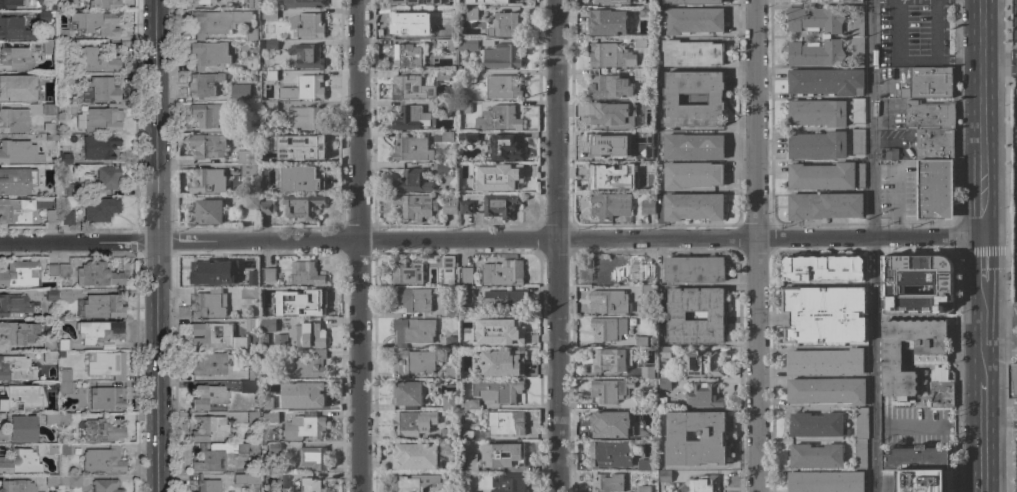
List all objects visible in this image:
building: (198, 1)
building: (612, 1)
building: (694, 1)
building: (824, 1)
building: (416, 2)
building: (104, 3)
building: (302, 3)
building: (501, 3)
building: (17, 4)
building: (53, 4)
building: (249, 4)
building: (446, 13)
building: (470, 13)
building: (645, 13)
building: (269, 14)
building: (44, 15)
building: (694, 21)
building: (607, 22)
building: (96, 23)
building: (222, 23)
building: (306, 25)
building: (409, 25)
building: (504, 26)
building: (14, 29)
road: (934, 30)
building: (826, 36)
building: (857, 36)
building: (61, 42)
building: (487, 42)
building: (639, 42)
building: (445, 44)
building: (468, 44)
building: (271, 45)
building: (245, 47)
road: (895, 47)
building: (209, 53)
building: (692, 53)
building: (306, 55)
building: (406, 56)
building: (611, 56)
building: (501, 57)
building: (15, 58)
building: (94, 59)
road: (998, 59)
road: (956, 60)
building: (251, 64)
building: (644, 74)
road: (998, 74)
building: (441, 75)
building: (468, 75)
building: (271, 76)
building: (67, 77)
building: (826, 82)
building: (203, 83)
building: (928, 83)
building: (609, 86)
building: (17, 87)
building: (310, 87)
building: (503, 87)
building: (410, 88)
building: (103, 89)
building: (238, 96)
building: (672, 100)
building: (640, 104)
building: (442, 105)
building: (271, 106)
building: (49, 108)
building: (64, 108)
building: (464, 108)
building: (858, 111)
building: (817, 113)
building: (210, 114)
building: (928, 115)
building: (411, 117)
building: (305, 118)
building: (499, 118)
building: (610, 118)
road: (980, 118)
building: (100, 119)
road: (757, 119)
building: (13, 120)
road: (360, 120)
road: (557, 120)
road: (158, 121)
building: (249, 126)
building: (49, 127)
building: (640, 135)
building: (443, 136)
building: (51, 137)
building: (468, 137)
building: (858, 142)
building: (934, 144)
building: (818, 145)
building: (207, 146)
building: (693, 146)
building: (101, 147)
building: (298, 147)
building: (504, 147)
building: (603, 148)
building: (412, 149)
building: (21, 152)
building: (890, 153)
building: (246, 156)
building: (64, 157)
building: (470, 167)
building: (271, 168)
building: (440, 168)
building: (246, 170)
building: (692, 175)
building: (612, 176)
building: (826, 176)
building: (108, 178)
building: (16, 180)
building: (300, 180)
building: (506, 180)
building: (208, 181)
building: (412, 181)
building: (73, 189)
building: (935, 189)
building: (61, 191)
building: (252, 201)
building: (449, 204)
building: (612, 204)
building: (500, 205)
building: (825, 205)
building: (302, 206)
building: (415, 207)
building: (465, 207)
building: (648, 207)
building: (693, 207)
building: (99, 208)
building: (266, 208)
building: (14, 210)
building: (206, 212)
building: (51, 216)
building: (68, 217)
road: (570, 239)
road: (79, 243)
road: (875, 245)
building: (823, 268)
building: (52, 269)
building: (63, 269)
building: (694, 269)
building: (211, 271)
building: (446, 271)
building: (251, 272)
building: (503, 272)
building: (603, 272)
building: (19, 273)
building: (304, 273)
building: (407, 273)
building: (97, 274)
building: (269, 274)
building: (647, 274)
building: (466, 275)
building: (907, 286)
building: (647, 290)
building: (249, 293)
building: (268, 293)
building: (465, 293)
building: (51, 294)
building: (65, 294)
building: (413, 299)
building: (501, 301)
building: (608, 302)
building: (208, 303)
building: (14, 305)
building: (102, 305)
building: (310, 305)
road: (982, 308)
building: (451, 311)
road: (999, 311)
building: (824, 314)
building: (717, 316)
building: (269, 324)
building: (251, 326)
building: (505, 328)
building: (608, 328)
building: (99, 331)
building: (413, 331)
building: (18, 333)
building: (307, 335)
building: (215, 336)
building: (451, 342)
building: (640, 342)
building: (652, 342)
building: (473, 343)
road: (999, 343)
building: (49, 344)
building: (64, 344)
building: (665, 352)
building: (268, 354)
building: (50, 355)
building: (610, 360)
building: (930, 360)
building: (415, 362)
building: (825, 362)
building: (209, 363)
building: (502, 363)
building: (107, 364)
building: (701, 364)
road: (558, 365)
road: (759, 365)
road: (361, 366)
road: (159, 367)
building: (304, 367)
building: (15, 368)
building: (68, 371)
building: (647, 372)
building: (451, 373)
road: (958, 373)
building: (253, 374)
building: (1014, 382)
building: (664, 383)
building: (248, 385)
building: (50, 387)
building: (67, 387)
building: (272, 387)
building: (496, 390)
building: (610, 390)
building: (826, 390)
building: (940, 392)
building: (303, 395)
building: (407, 395)
building: (208, 396)
building: (704, 397)
building: (105, 398)
building: (13, 399)
building: (449, 402)
building: (266, 403)
building: (473, 403)
building: (644, 403)
road: (1012, 405)
building: (253, 416)
building: (269, 417)
building: (58, 418)
building: (506, 423)
building: (861, 423)
road: (999, 423)
building: (406, 424)
building: (610, 424)
building: (816, 425)
building: (303, 427)
road: (932, 427)
building: (19, 428)
building: (209, 428)
building: (103, 431)
building: (446, 434)
building: (466, 435)
road: (982, 436)
building: (713, 438)
building: (275, 447)
building: (52, 448)
building: (65, 448)
building: (860, 453)
building: (512, 454)
building: (610, 454)
building: (216, 456)
building: (416, 456)
building: (816, 456)
building: (313, 458)
building: (918, 458)
building: (103, 459)
parking lot: (1014, 459)
building: (471, 460)
building: (19, 461)
building: (645, 464)
building: (665, 476)
building: (247, 478)
building: (52, 479)
building: (70, 479)
building: (922, 480)
building: (271, 481)
building: (412, 482)
building: (825, 482)
building: (511, 483)
building: (609, 483)
building: (704, 484)
building: (105, 485)
building: (207, 485)
building: (311, 485)
building: (17, 486)
building: (643, 489)
building: (447, 491)

